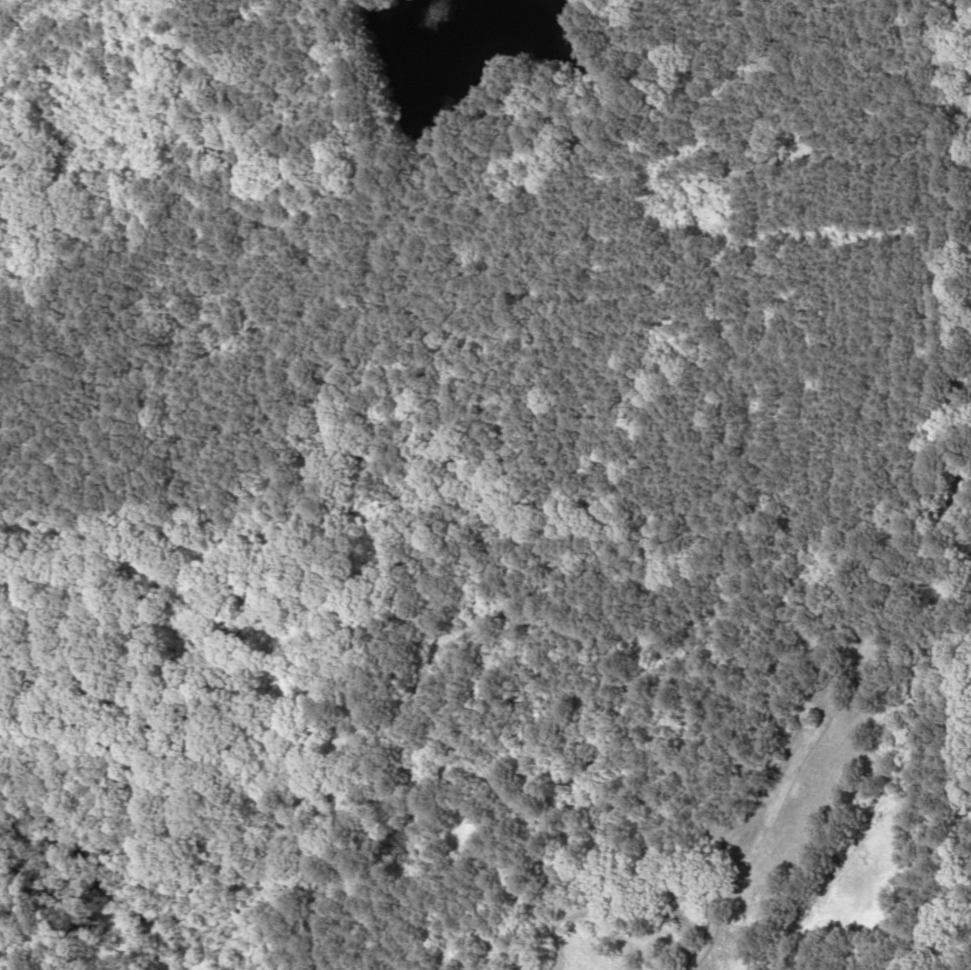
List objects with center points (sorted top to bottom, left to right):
road: (952, 281)
road: (801, 660)
road: (947, 728)

